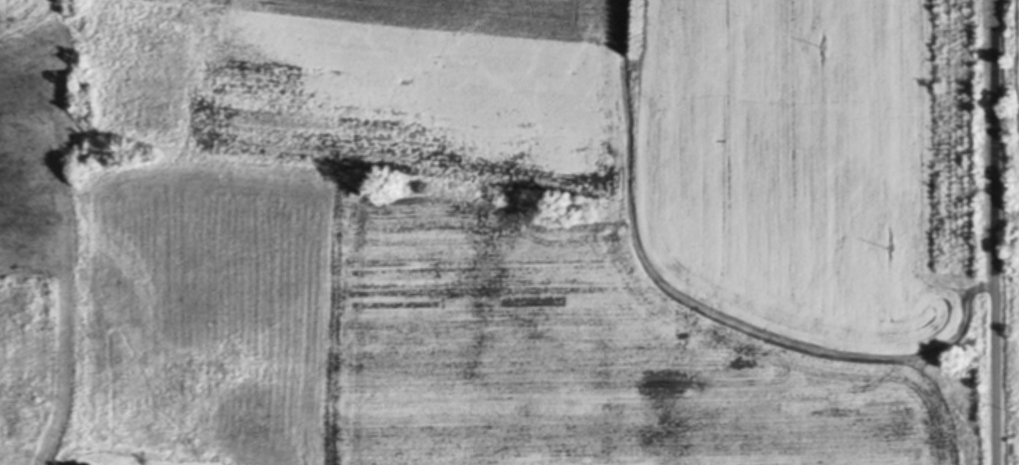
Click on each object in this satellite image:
road: (997, 232)

